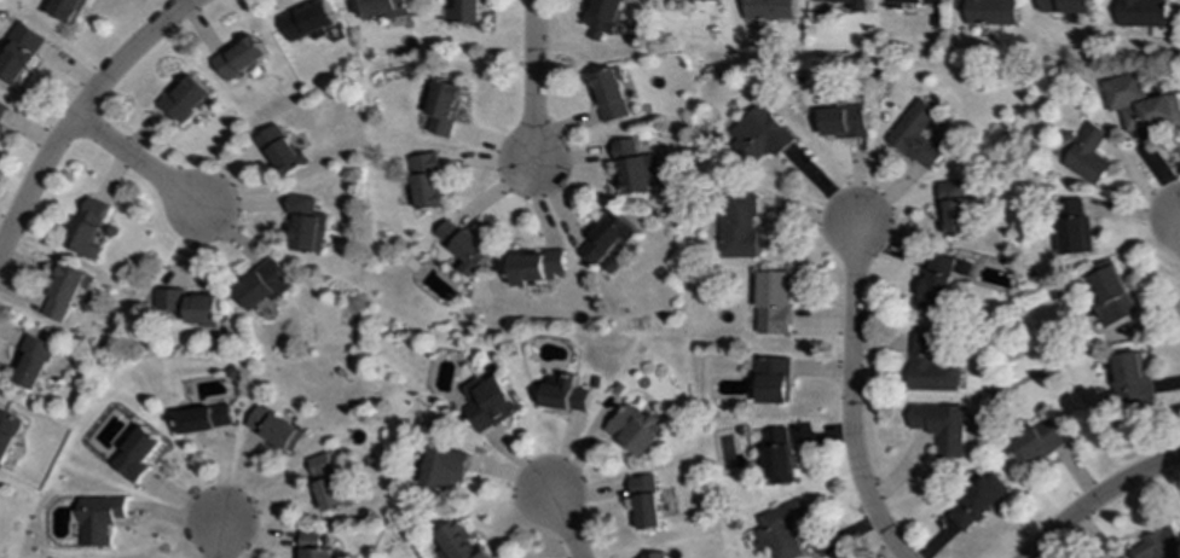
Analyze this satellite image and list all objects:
building: (694, 0)
building: (909, 2)
building: (1064, 6)
building: (858, 7)
building: (382, 8)
building: (70, 10)
building: (765, 10)
building: (464, 12)
building: (988, 12)
building: (1140, 12)
building: (601, 17)
building: (308, 22)
building: (22, 52)
building: (241, 58)
road: (530, 81)
building: (607, 95)
building: (185, 98)
building: (1139, 103)
building: (1, 107)
building: (442, 109)
road: (79, 110)
building: (840, 122)
building: (914, 134)
building: (758, 135)
building: (277, 151)
building: (1087, 156)
road: (137, 161)
building: (634, 167)
building: (424, 181)
building: (953, 208)
building: (305, 225)
building: (735, 226)
building: (86, 227)
building: (1074, 227)
building: (605, 238)
building: (461, 245)
building: (533, 267)
building: (939, 280)
building: (259, 285)
building: (64, 291)
building: (1109, 292)
building: (773, 303)
building: (185, 306)
building: (31, 361)
building: (930, 366)
building: (1129, 379)
building: (773, 380)
building: (563, 395)
road: (851, 395)
building: (485, 402)
building: (199, 418)
building: (942, 426)
building: (271, 429)
building: (632, 431)
building: (6, 432)
building: (1037, 442)
building: (132, 454)
building: (779, 455)
building: (444, 469)
building: (323, 482)
road: (1099, 499)
building: (648, 502)
building: (973, 504)
building: (96, 519)
road: (565, 524)
building: (782, 529)
road: (214, 541)
building: (458, 541)
building: (312, 545)
building: (1156, 545)
building: (655, 554)

